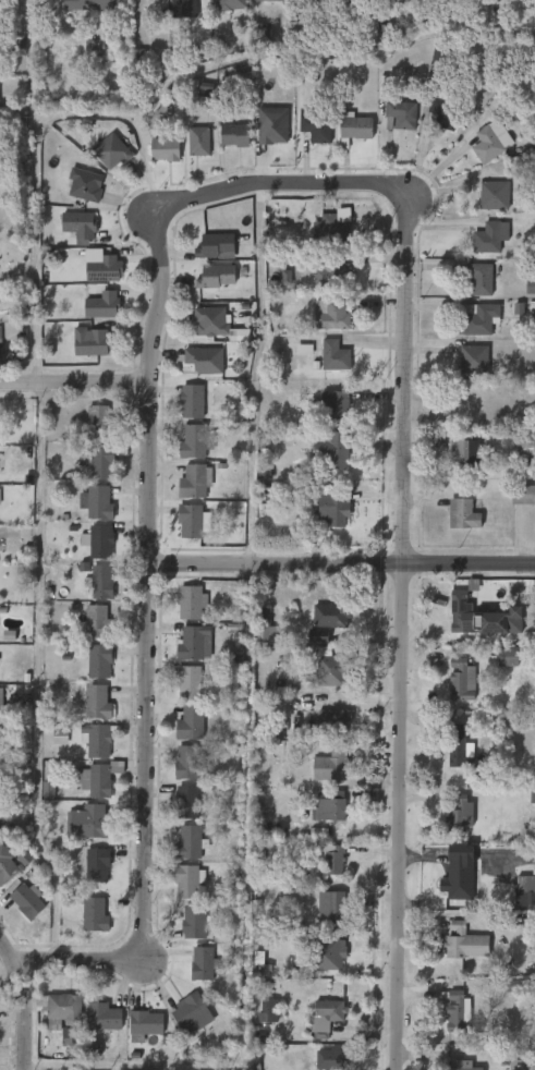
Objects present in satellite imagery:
building: (313, 0)
building: (399, 0)
building: (184, 2)
building: (268, 2)
building: (98, 4)
building: (232, 4)
building: (358, 4)
building: (385, 33)
building: (95, 47)
road: (327, 53)
building: (442, 112)
building: (400, 114)
building: (272, 125)
building: (315, 127)
building: (354, 129)
building: (238, 135)
building: (198, 142)
building: (487, 145)
building: (166, 150)
building: (111, 153)
road: (35, 156)
building: (85, 185)
building: (491, 194)
road: (248, 198)
building: (83, 224)
building: (333, 226)
building: (490, 238)
building: (216, 244)
building: (102, 269)
building: (330, 269)
building: (216, 275)
building: (482, 279)
building: (530, 285)
building: (102, 305)
building: (532, 308)
building: (331, 314)
building: (481, 319)
building: (211, 320)
building: (90, 342)
building: (0, 349)
building: (304, 350)
building: (336, 355)
building: (474, 358)
building: (205, 360)
road: (69, 393)
building: (194, 400)
building: (337, 402)
building: (102, 423)
building: (196, 441)
building: (524, 443)
building: (466, 450)
building: (337, 453)
building: (105, 462)
building: (195, 481)
building: (523, 494)
building: (0, 496)
building: (97, 502)
building: (336, 508)
building: (463, 513)
building: (191, 520)
building: (100, 542)
road: (335, 563)
building: (101, 582)
building: (193, 601)
building: (461, 612)
building: (331, 615)
road: (390, 621)
building: (98, 622)
building: (266, 631)
building: (195, 643)
building: (509, 656)
building: (99, 660)
road: (133, 667)
building: (330, 668)
building: (462, 679)
building: (192, 682)
road: (36, 685)
building: (97, 702)
building: (1, 704)
building: (332, 720)
building: (194, 724)
building: (60, 734)
building: (98, 739)
building: (457, 744)
building: (190, 763)
building: (331, 764)
building: (0, 774)
building: (97, 779)
building: (190, 801)
building: (330, 810)
building: (457, 812)
building: (1, 819)
building: (88, 822)
building: (192, 842)
building: (332, 859)
building: (12, 864)
building: (97, 865)
building: (458, 873)
building: (191, 880)
building: (525, 884)
building: (524, 898)
building: (28, 900)
building: (335, 905)
building: (97, 916)
building: (197, 921)
building: (462, 941)
building: (333, 953)
building: (202, 964)
building: (190, 1011)
building: (268, 1011)
building: (454, 1011)
building: (68, 1016)
building: (104, 1017)
building: (327, 1017)
building: (145, 1023)
road: (11, 1026)
building: (330, 1059)
building: (521, 1060)
building: (459, 1066)

